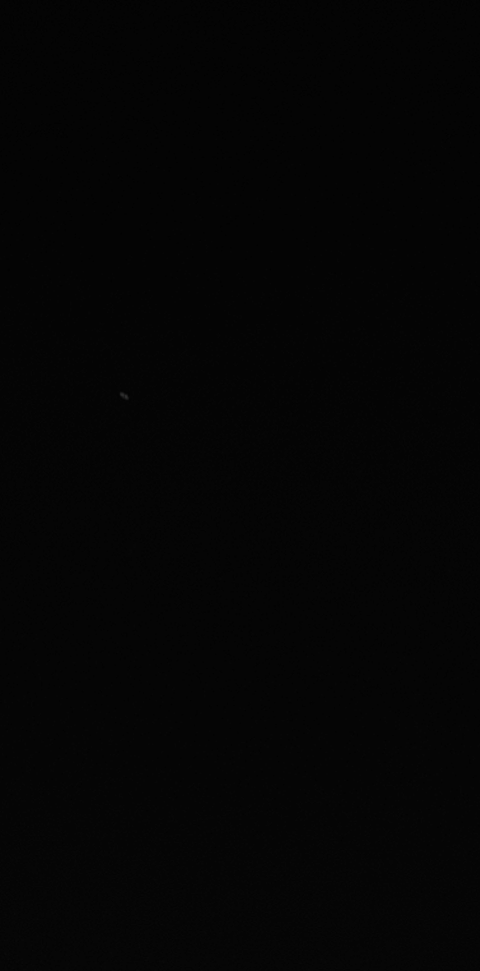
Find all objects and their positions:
river: (240, 441)

